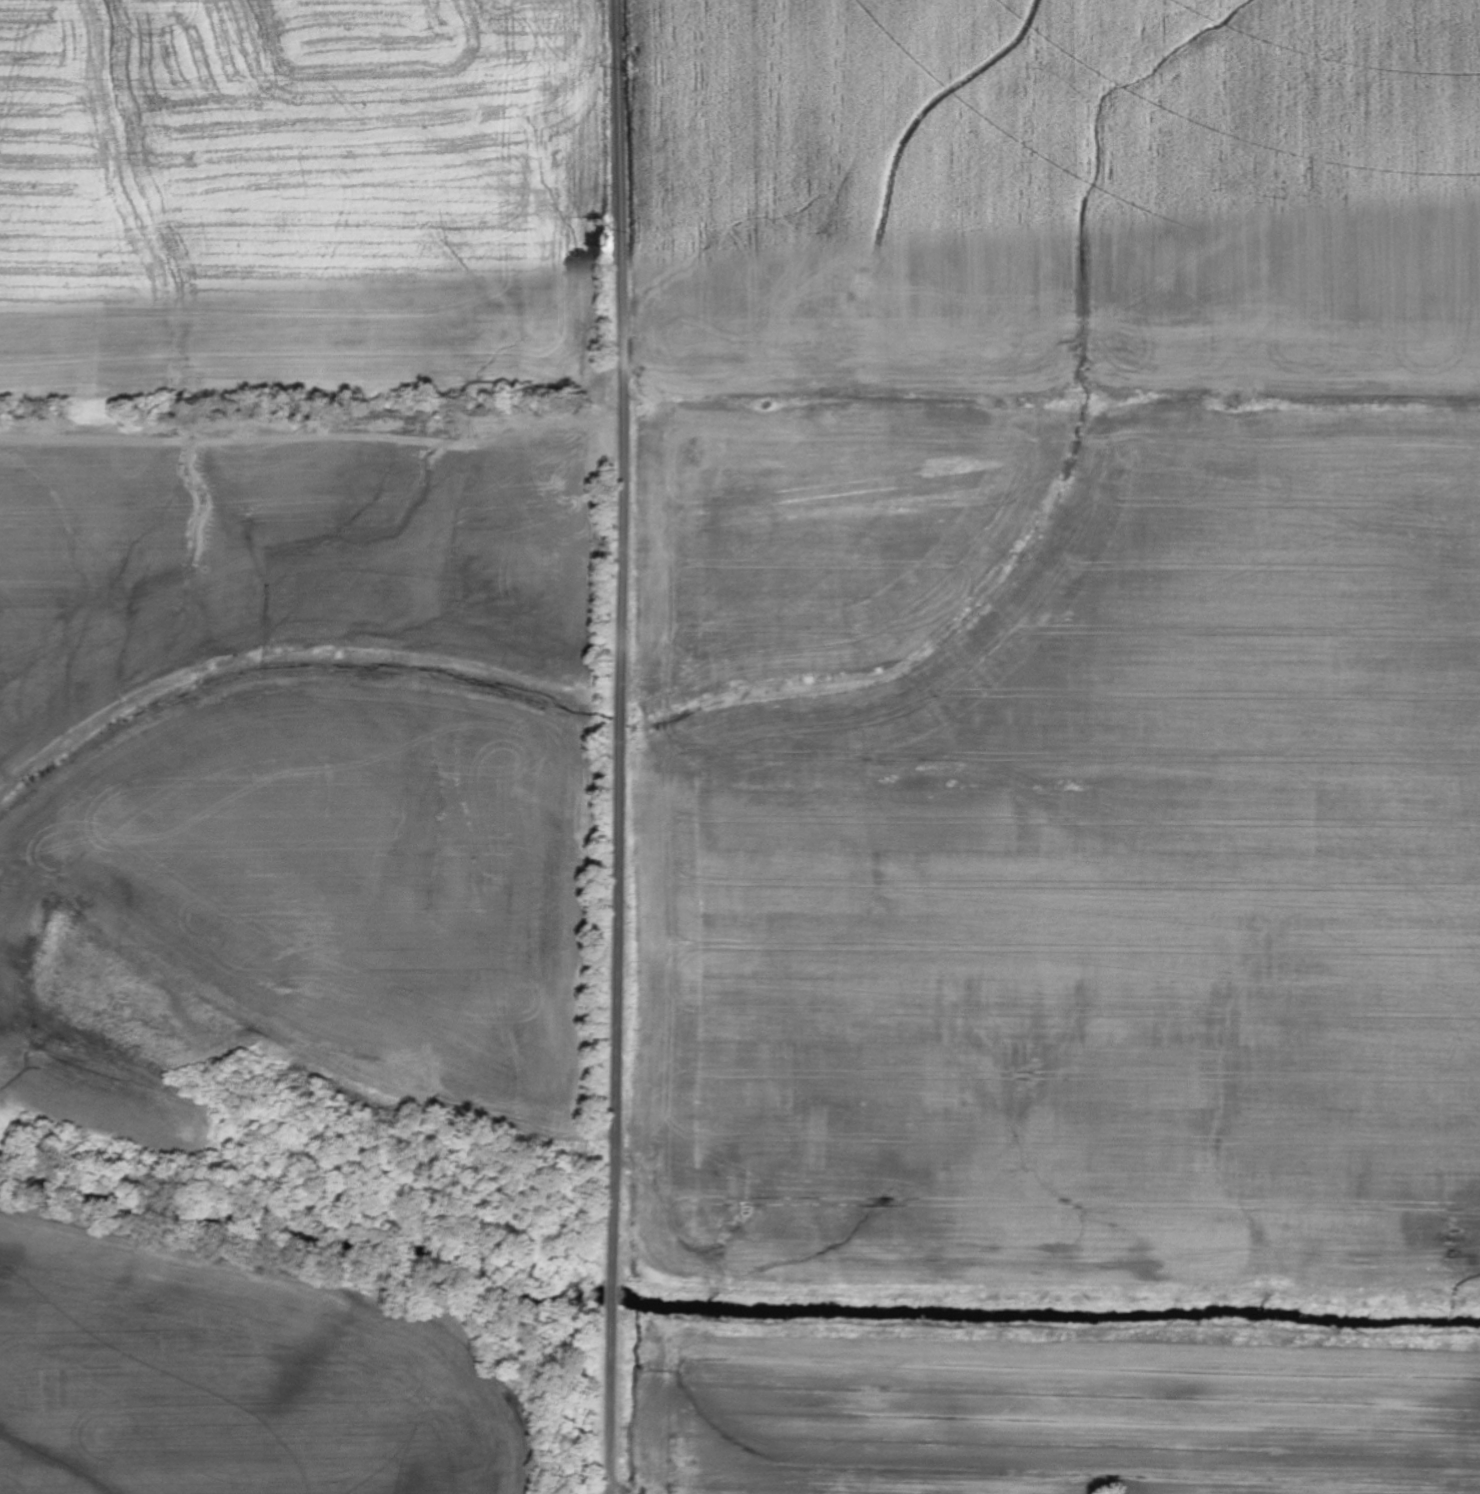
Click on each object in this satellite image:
road: (623, 746)

